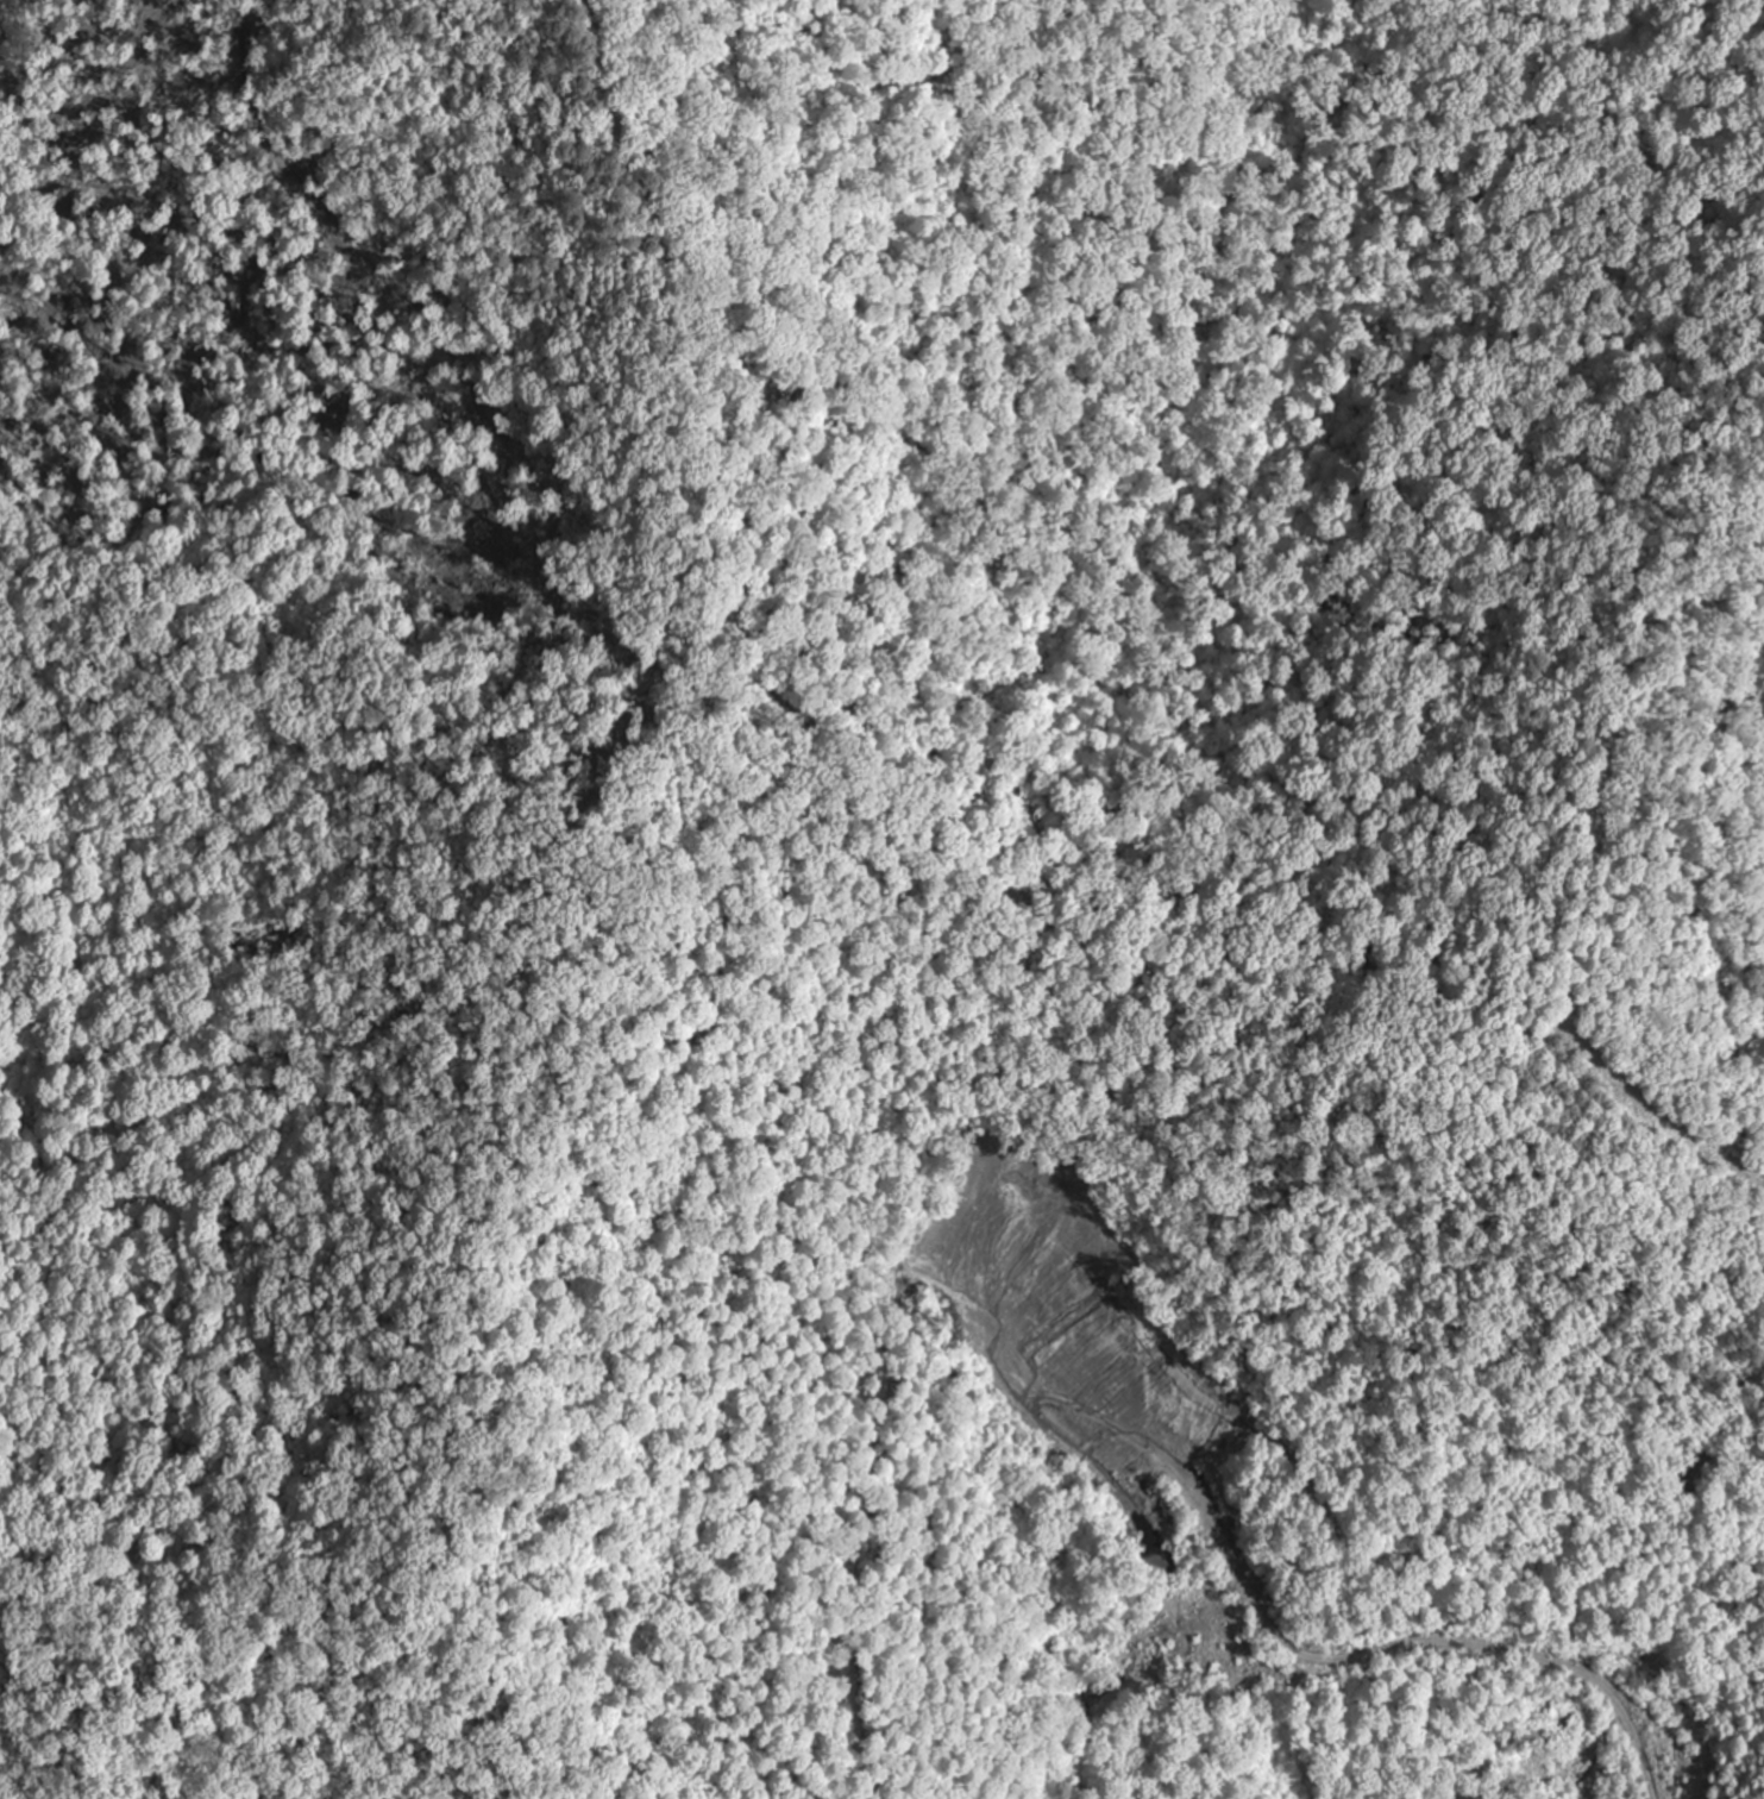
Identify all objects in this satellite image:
building: (1005, 1312)

